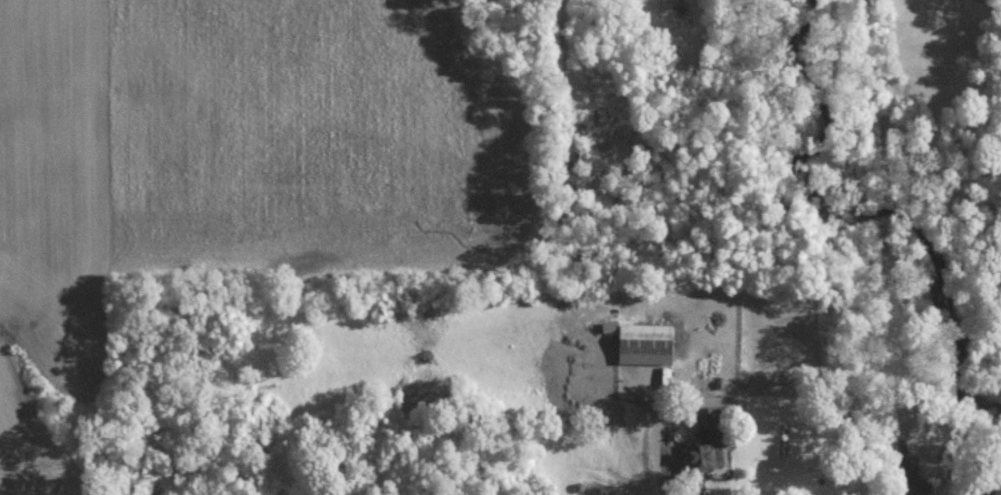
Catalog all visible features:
building: (646, 342)
building: (643, 412)
building: (708, 439)
road: (686, 443)

